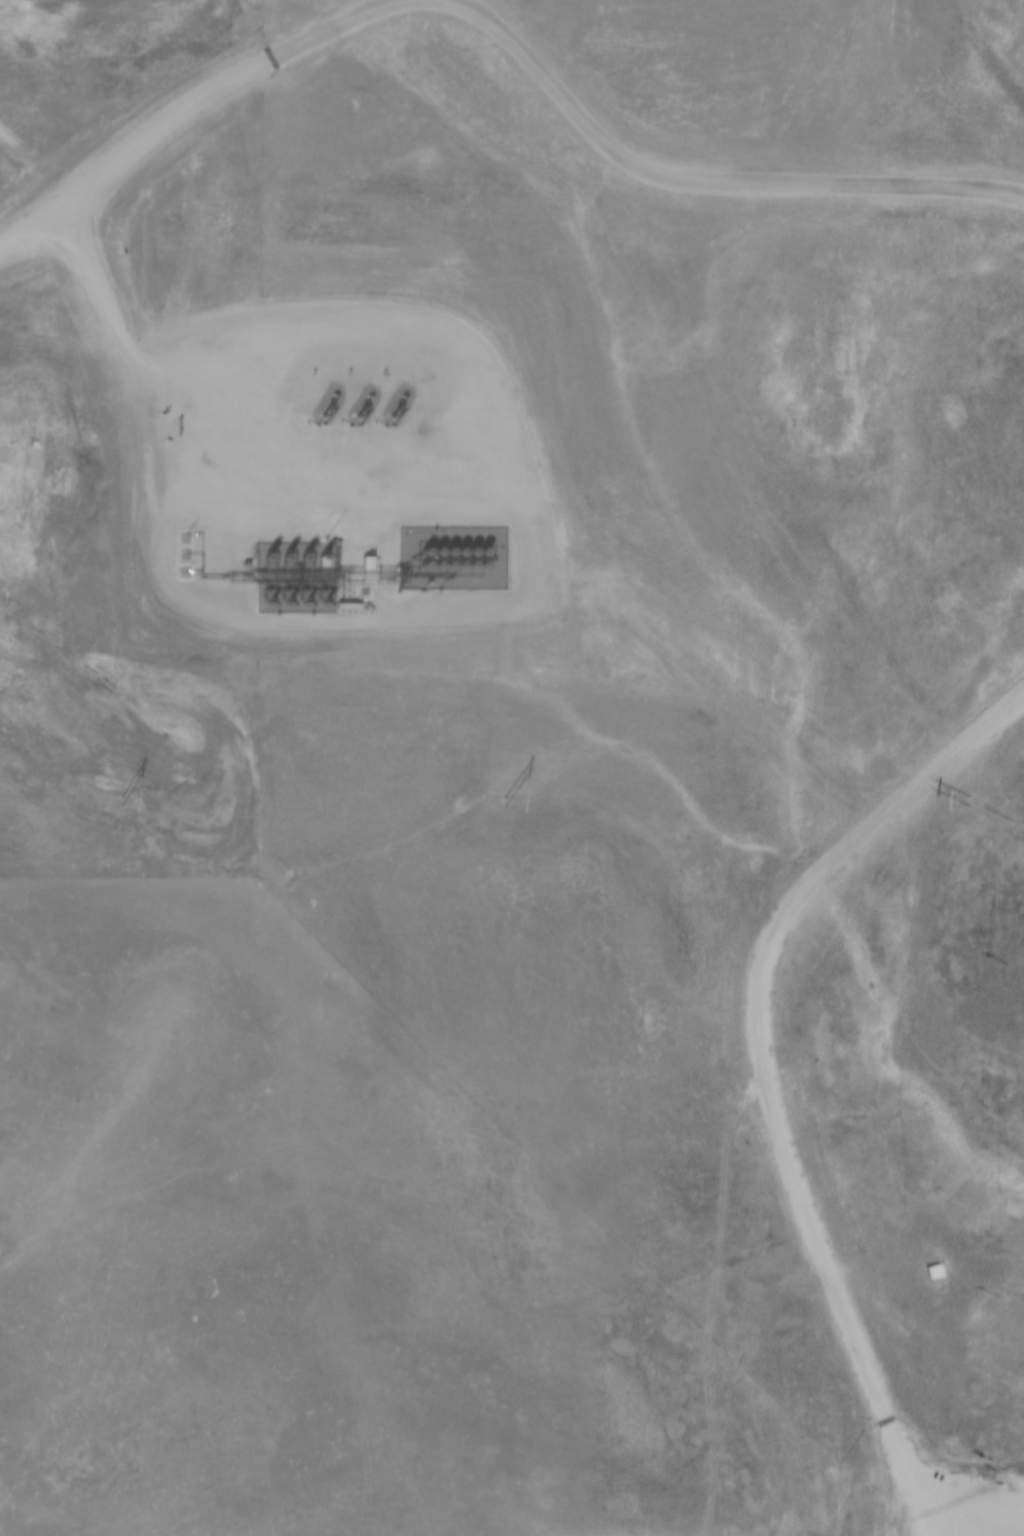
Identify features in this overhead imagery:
quarry: (793, 256)

